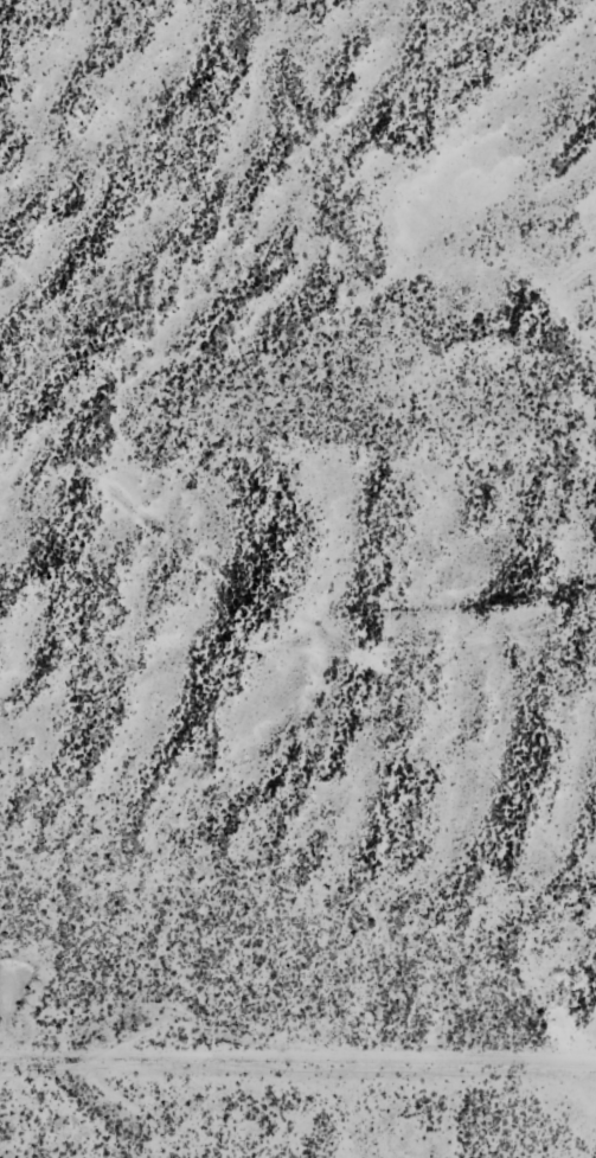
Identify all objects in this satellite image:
road: (297, 1112)

